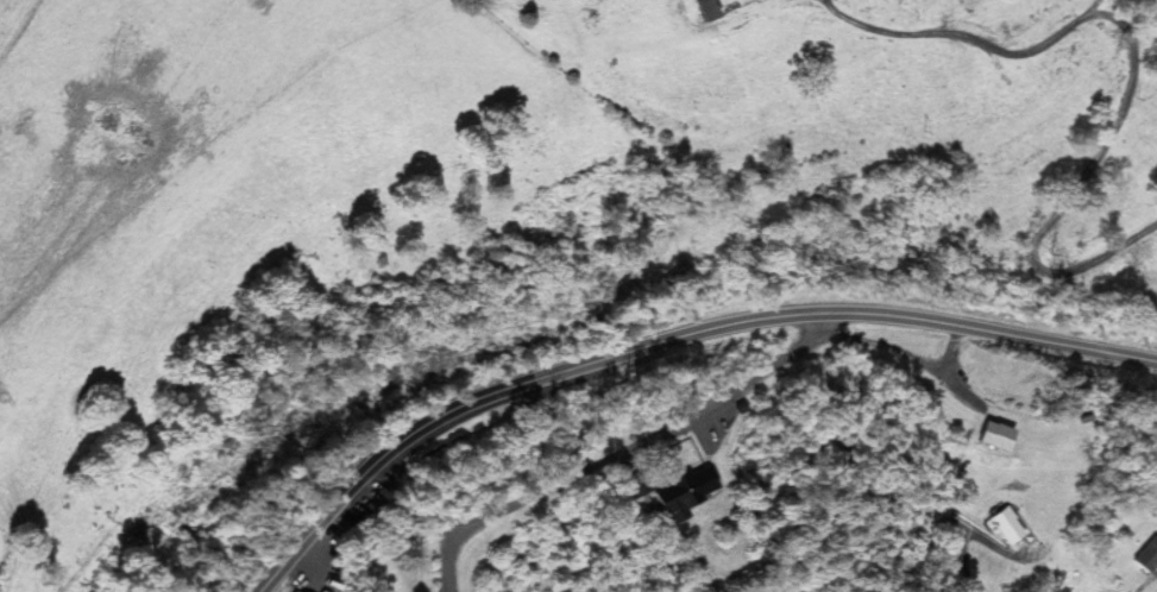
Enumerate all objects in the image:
building: (704, 8)
road: (1128, 64)
road: (672, 348)
road: (904, 358)
building: (992, 434)
road: (622, 453)
building: (634, 484)
building: (680, 491)
building: (1005, 524)
road: (961, 537)
building: (1146, 554)
building: (290, 591)

